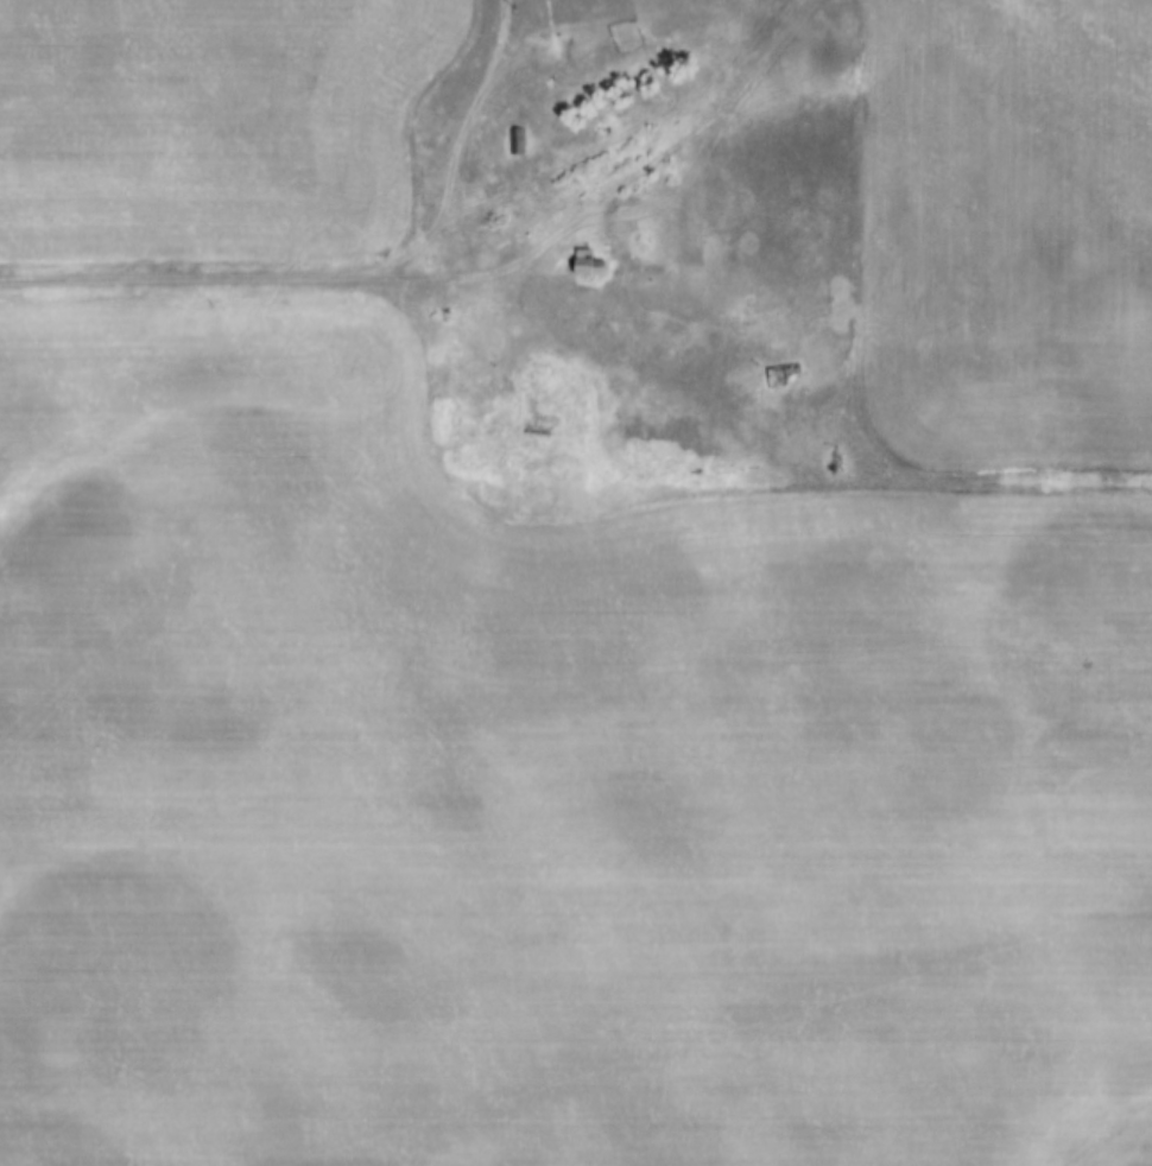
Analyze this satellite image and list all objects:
building: (513, 142)
building: (586, 267)
road: (455, 279)

